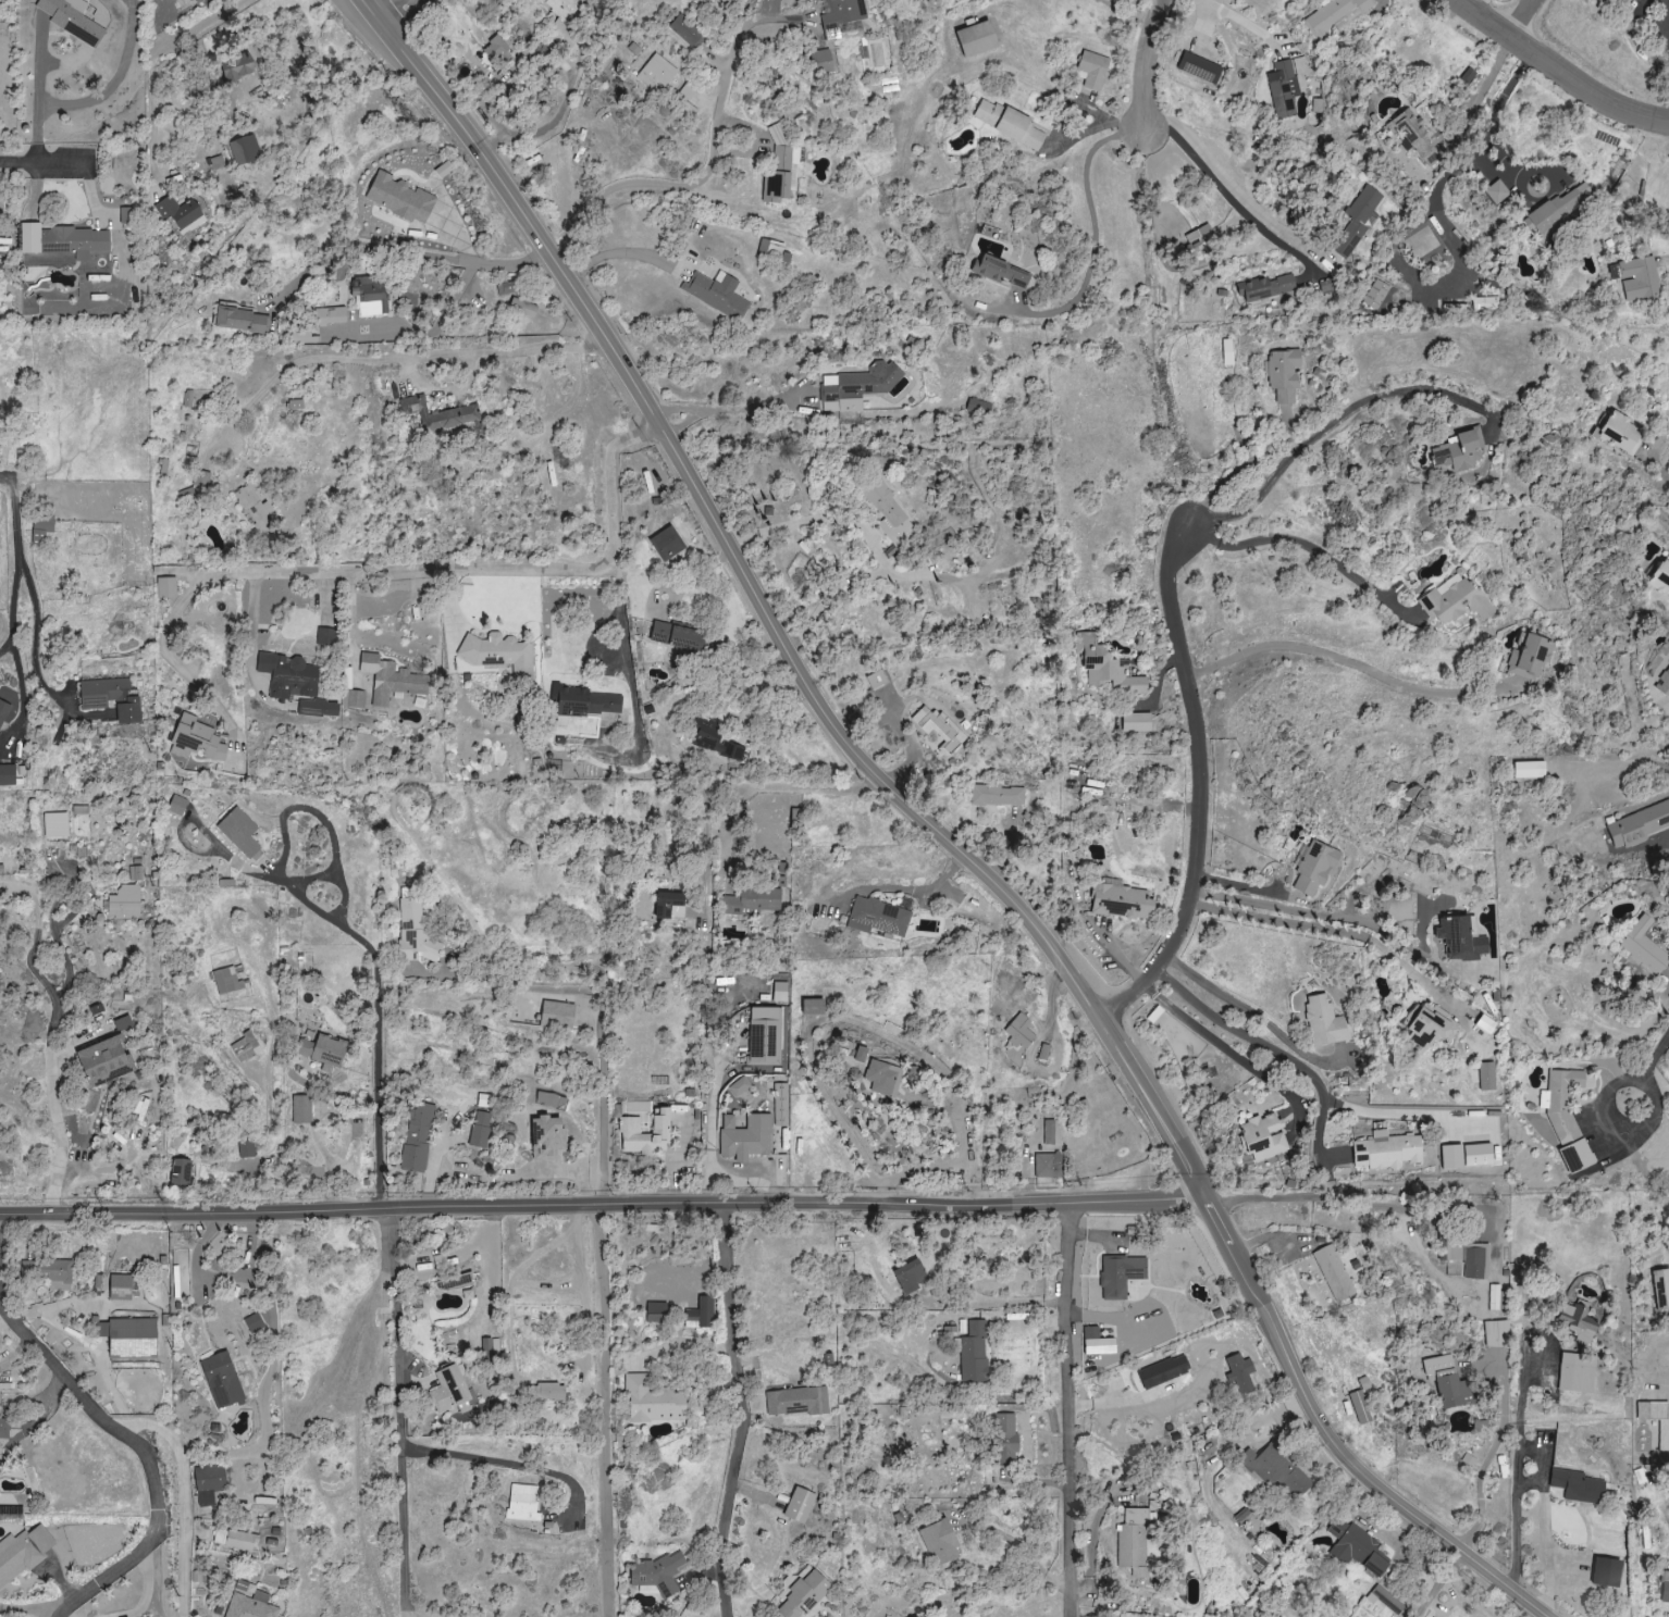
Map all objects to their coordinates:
road: (1668, 1)
building: (565, 8)
building: (842, 15)
building: (1336, 15)
building: (71, 18)
road: (1517, 18)
road: (417, 21)
road: (1248, 24)
building: (688, 32)
building: (974, 40)
building: (495, 49)
road: (1149, 55)
building: (821, 62)
building: (234, 66)
building: (1198, 67)
road: (152, 69)
building: (1092, 70)
building: (657, 72)
road: (1556, 75)
road: (116, 82)
building: (890, 84)
building: (1283, 89)
road: (39, 91)
building: (1009, 124)
road: (549, 130)
building: (778, 134)
building: (1413, 136)
road: (1063, 138)
building: (245, 149)
road: (715, 152)
road: (45, 161)
road: (1505, 162)
road: (1457, 166)
building: (781, 175)
building: (1497, 192)
building: (398, 198)
road: (1231, 198)
building: (1554, 211)
building: (182, 215)
building: (1357, 222)
road: (1097, 226)
building: (1199, 233)
building: (64, 240)
road: (627, 251)
road: (419, 257)
road: (1667, 261)
building: (999, 271)
building: (1635, 277)
building: (506, 288)
building: (1266, 289)
building: (718, 294)
building: (1376, 295)
building: (522, 308)
building: (330, 315)
building: (242, 321)
building: (1226, 352)
road: (385, 358)
building: (1283, 375)
building: (862, 386)
building: (900, 387)
building: (295, 405)
building: (978, 407)
road: (729, 409)
building: (440, 415)
road: (1330, 426)
building: (1619, 433)
building: (1459, 449)
road: (1659, 465)
road: (1240, 467)
building: (255, 505)
building: (887, 511)
road: (15, 520)
building: (666, 543)
road: (874, 545)
road: (1311, 546)
road: (500, 570)
road: (195, 576)
building: (1659, 577)
building: (166, 587)
building: (1454, 599)
road: (16, 600)
road: (38, 632)
building: (673, 635)
building: (325, 636)
road: (7, 647)
building: (498, 652)
building: (1529, 657)
road: (1350, 660)
road: (178, 664)
building: (1105, 668)
building: (288, 675)
building: (875, 679)
building: (387, 681)
road: (631, 683)
building: (1662, 683)
road: (24, 693)
building: (110, 698)
building: (356, 699)
building: (583, 701)
building: (319, 708)
building: (2, 711)
building: (1136, 722)
building: (938, 727)
building: (196, 739)
building: (712, 739)
building: (1529, 769)
building: (7, 774)
road: (790, 783)
road: (1201, 785)
building: (997, 795)
building: (176, 805)
building: (55, 824)
building: (1639, 825)
building: (238, 831)
road: (934, 832)
building: (1314, 868)
building: (135, 872)
building: (753, 899)
building: (125, 901)
building: (668, 905)
building: (878, 917)
road: (1342, 931)
building: (416, 932)
building: (1458, 938)
building: (1644, 950)
building: (226, 981)
building: (780, 992)
building: (811, 1006)
building: (557, 1013)
building: (1323, 1021)
building: (1484, 1023)
building: (1429, 1027)
building: (1019, 1030)
road: (51, 1034)
road: (602, 1035)
road: (376, 1041)
building: (321, 1049)
road: (1279, 1050)
building: (102, 1061)
road: (1648, 1068)
building: (875, 1077)
building: (1486, 1077)
building: (738, 1086)
building: (483, 1100)
building: (552, 1100)
building: (301, 1108)
building: (139, 1110)
road: (713, 1110)
road: (836, 1110)
road: (1401, 1112)
building: (1567, 1119)
building: (658, 1120)
building: (479, 1128)
building: (744, 1135)
building: (1262, 1136)
building: (545, 1137)
building: (638, 1137)
building: (417, 1139)
building: (246, 1148)
building: (1385, 1152)
building: (1476, 1155)
road: (959, 1157)
building: (1047, 1165)
road: (715, 1166)
building: (178, 1172)
road: (733, 1179)
road: (1350, 1198)
road: (605, 1207)
road: (5, 1240)
building: (1472, 1262)
building: (1334, 1272)
building: (908, 1276)
road: (222, 1277)
building: (1120, 1277)
building: (178, 1281)
building: (119, 1286)
building: (1660, 1288)
building: (1494, 1297)
building: (655, 1311)
building: (700, 1314)
building: (1575, 1320)
building: (255, 1323)
building: (1497, 1333)
building: (131, 1338)
building: (1095, 1342)
road: (684, 1345)
building: (974, 1353)
building: (1163, 1371)
building: (1241, 1372)
building: (1577, 1372)
building: (221, 1380)
road: (268, 1381)
building: (1444, 1381)
building: (1364, 1383)
building: (448, 1389)
building: (545, 1392)
building: (652, 1400)
building: (796, 1402)
building: (1360, 1407)
road: (1066, 1409)
road: (602, 1410)
road: (743, 1410)
road: (404, 1413)
building: (1656, 1420)
road: (1257, 1422)
building: (3, 1429)
building: (1004, 1434)
road: (147, 1459)
building: (1469, 1459)
road: (1538, 1459)
road: (505, 1461)
building: (1275, 1470)
road: (1529, 1480)
building: (208, 1484)
building: (1577, 1485)
building: (523, 1503)
building: (799, 1506)
building: (1134, 1538)
building: (239, 1541)
building: (938, 1543)
road: (1017, 1545)
building: (1355, 1547)
building: (22, 1552)
road: (174, 1559)
building: (659, 1572)
building: (1605, 1572)
building: (1139, 1575)
road: (1441, 1585)
building: (1665, 1588)
building: (802, 1594)
building: (1385, 1599)
building: (248, 1606)
road: (25, 1610)

